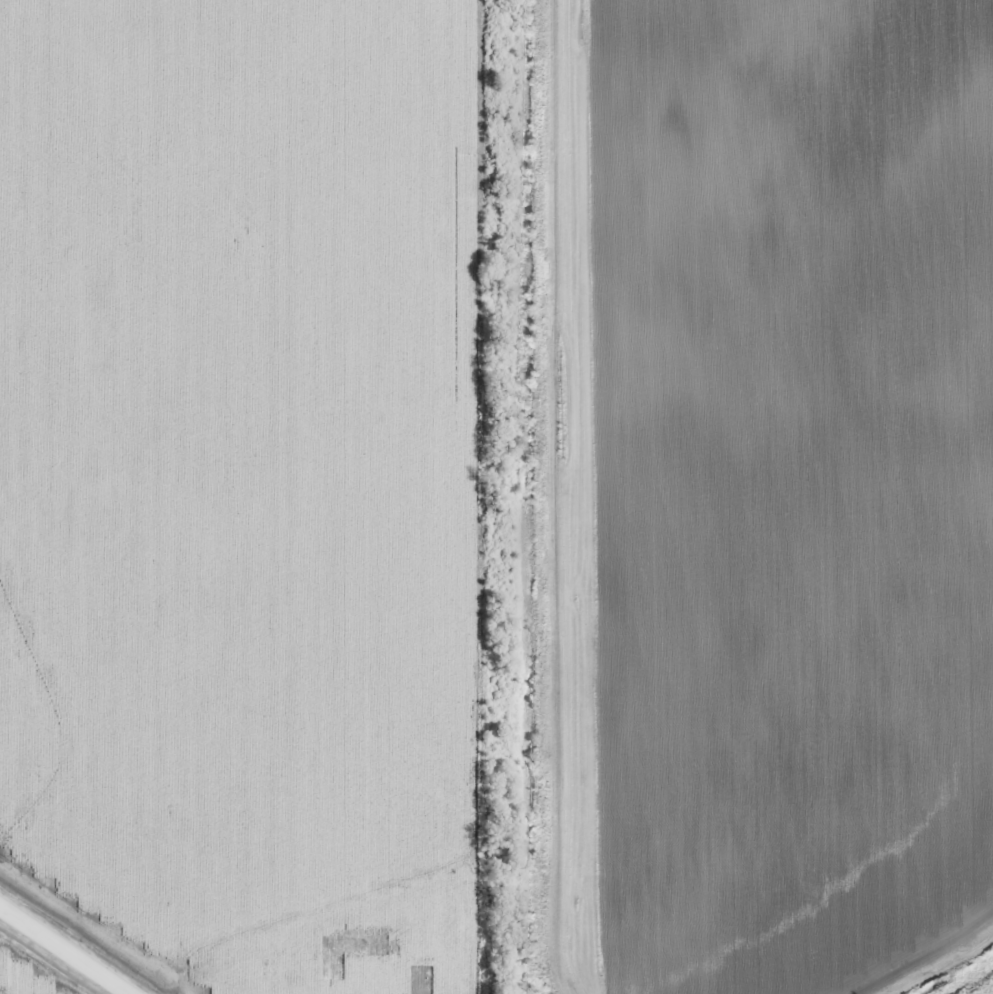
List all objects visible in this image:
road: (64, 950)

